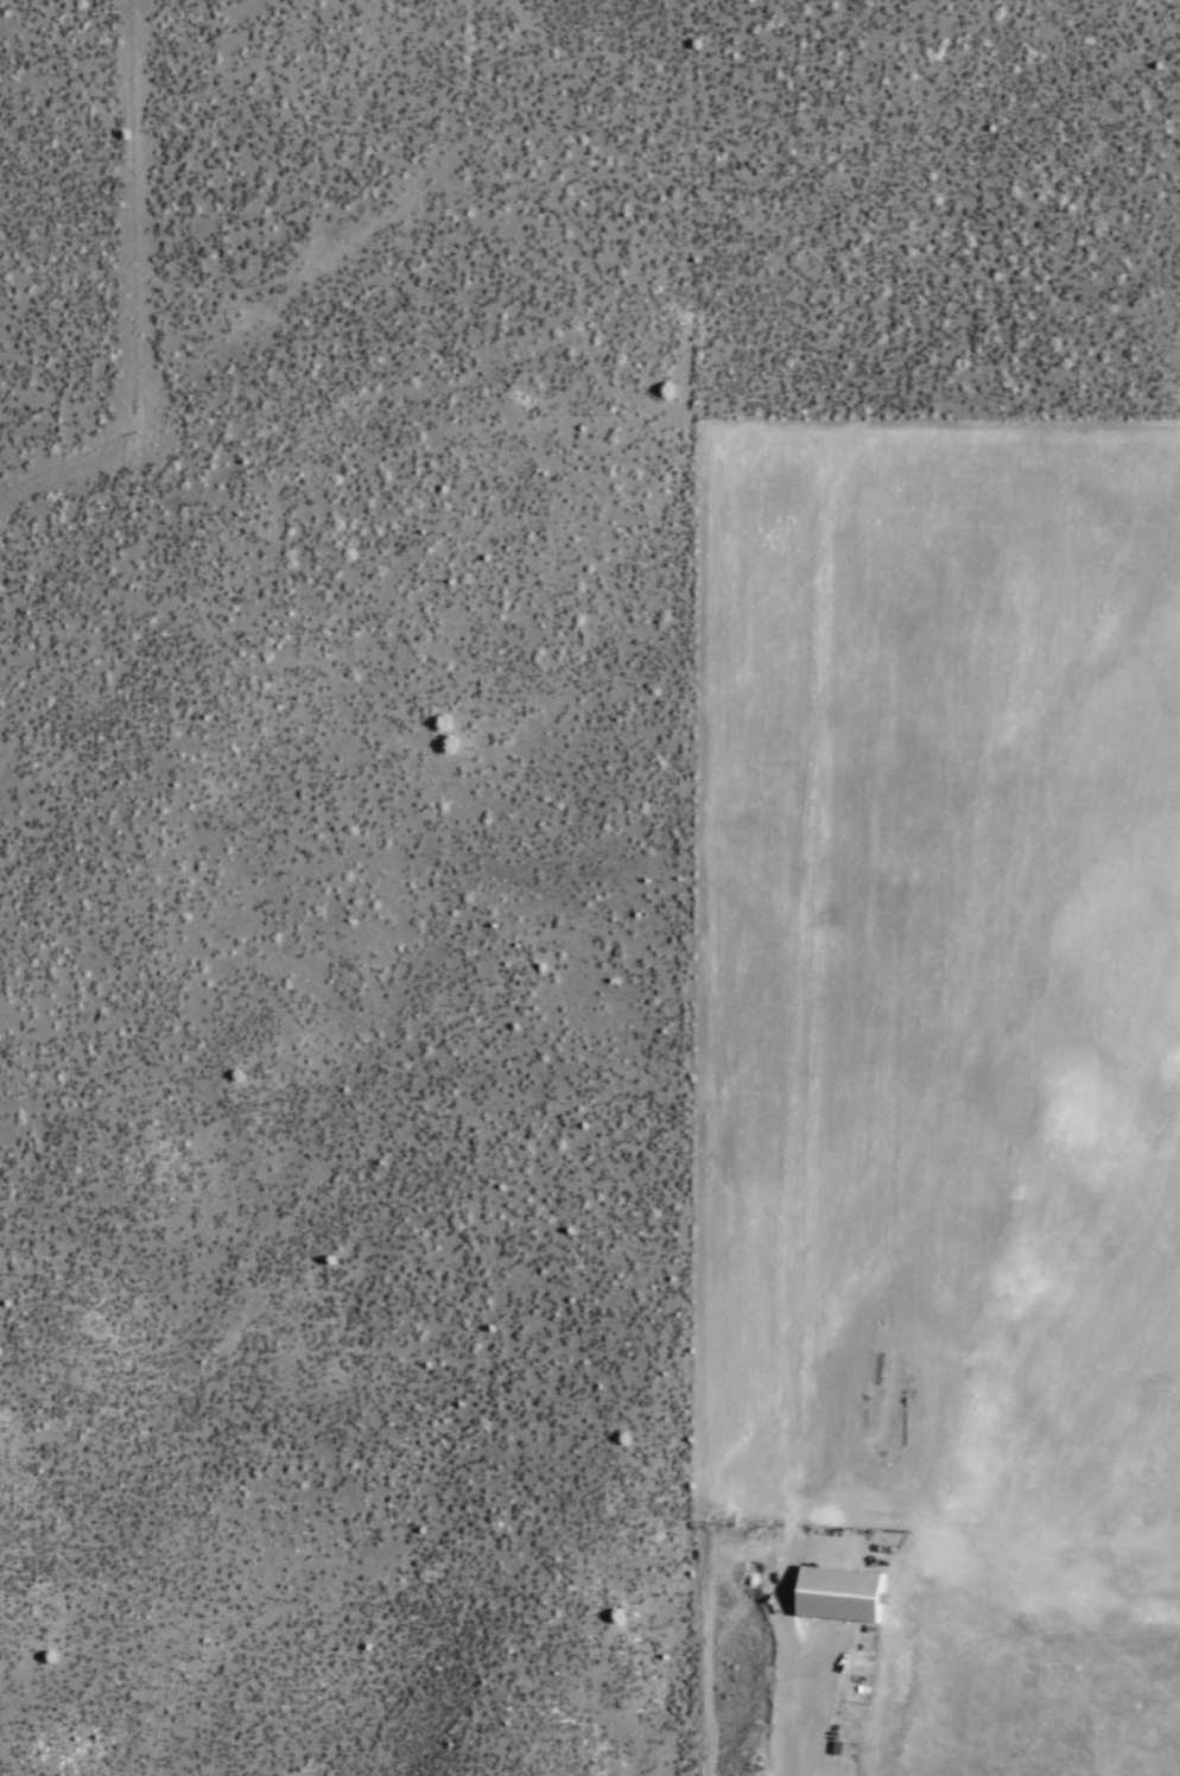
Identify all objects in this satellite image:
building: (839, 1594)

